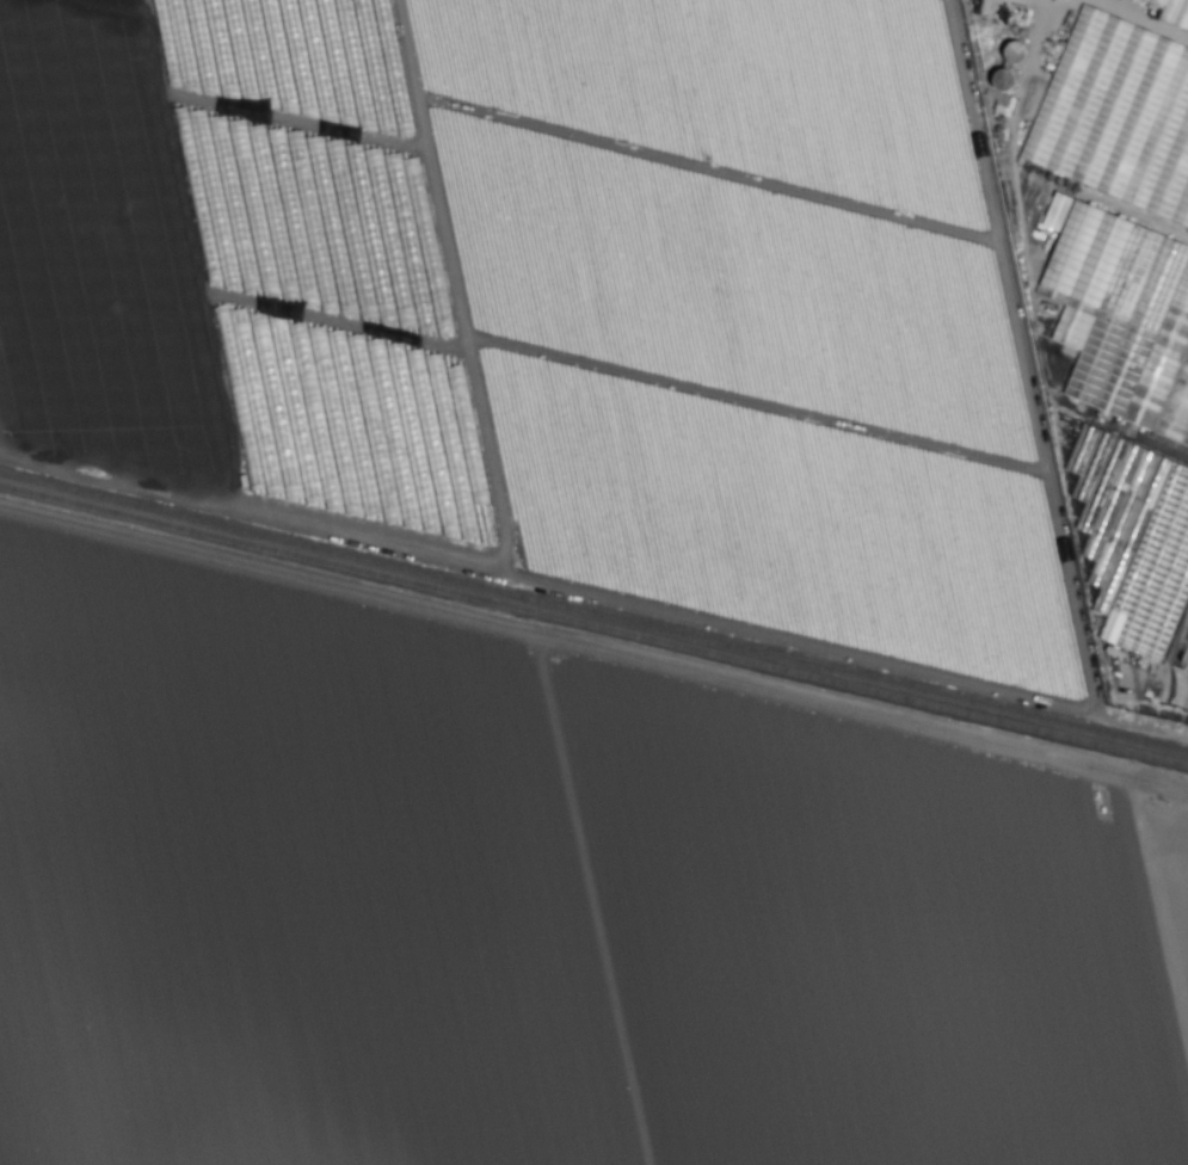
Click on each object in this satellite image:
building: (1174, 12)
building: (1088, 81)
road: (214, 101)
building: (1003, 104)
building: (1187, 216)
road: (454, 285)
road: (234, 298)
crop: (640, 307)
road: (593, 592)
railway: (593, 615)
railway: (593, 625)
crop: (536, 904)

